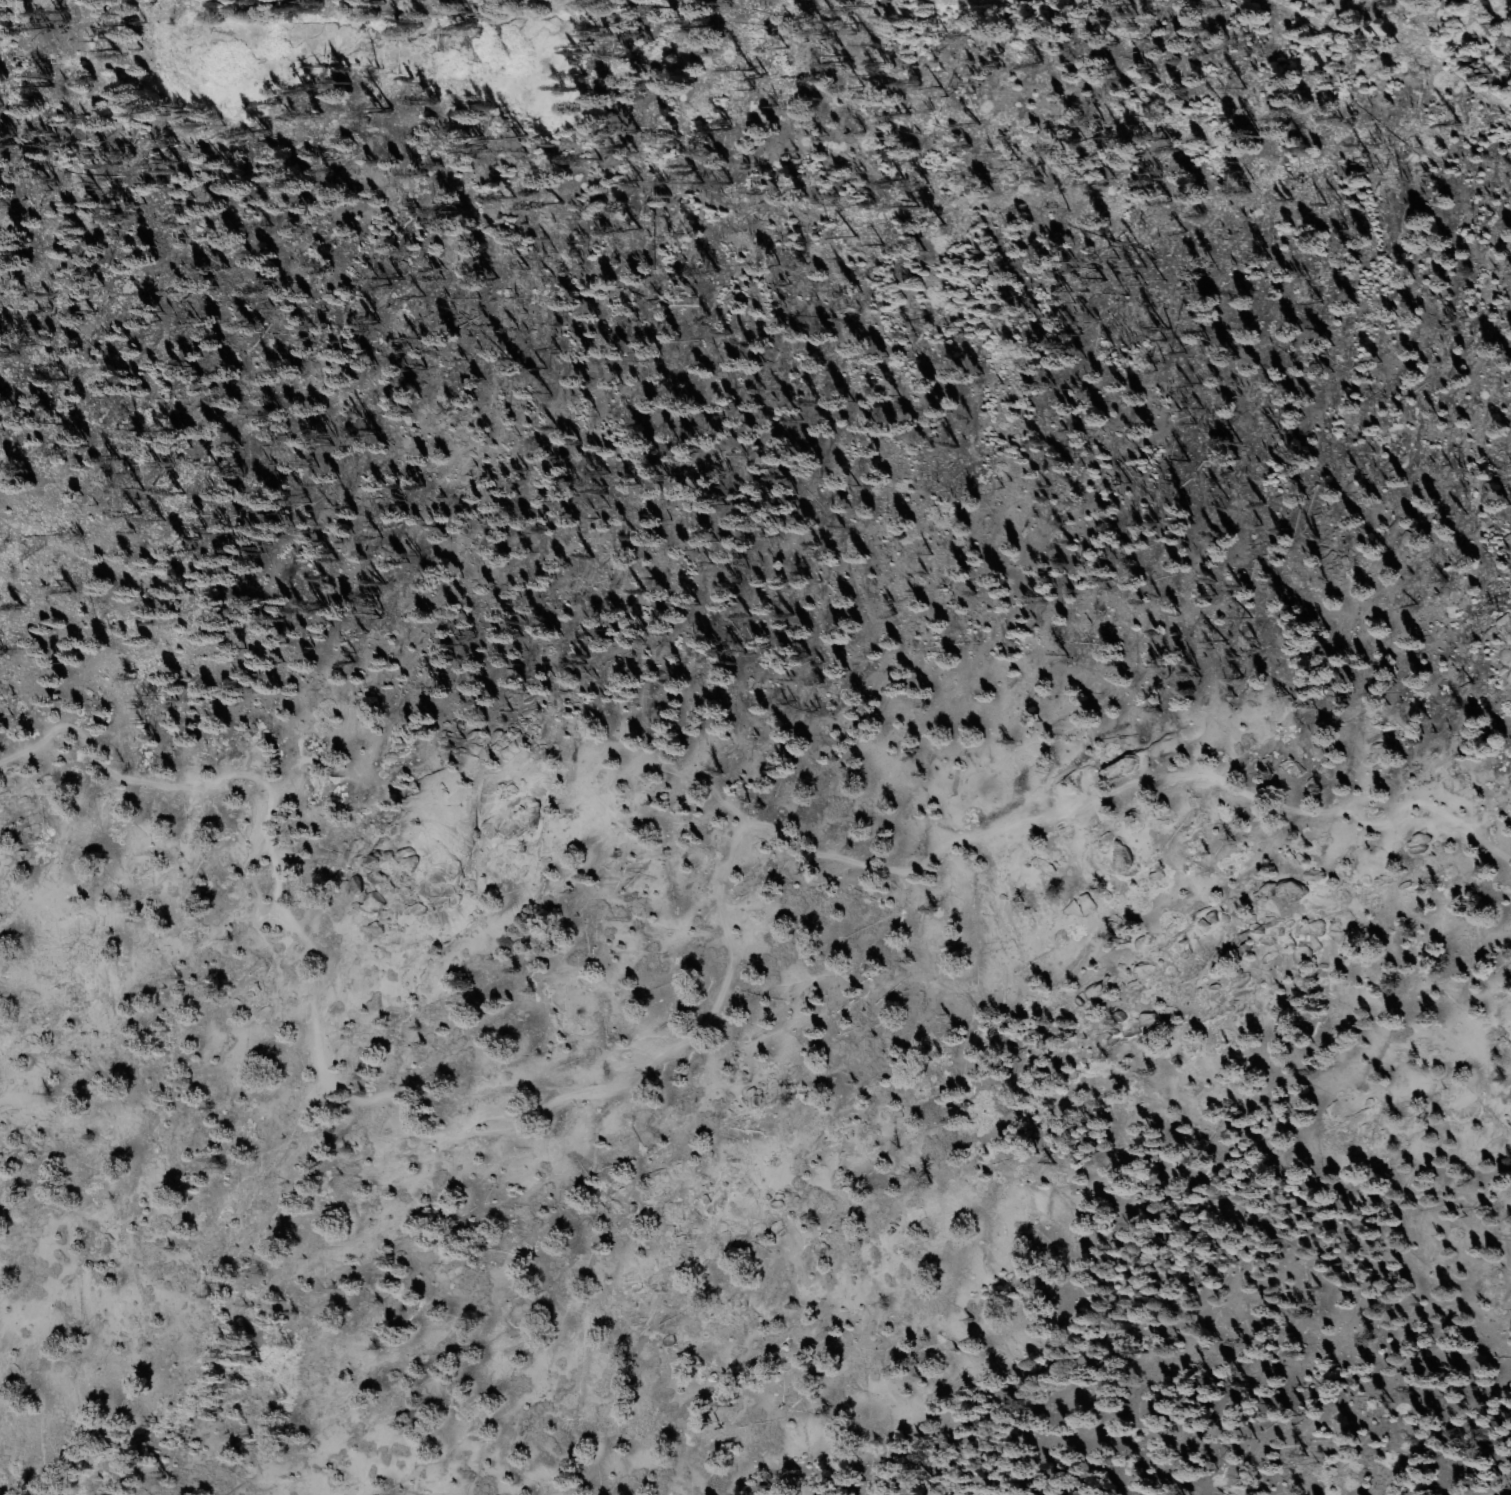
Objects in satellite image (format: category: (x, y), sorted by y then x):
road: (989, 12)
road: (1372, 46)
road: (682, 1040)

